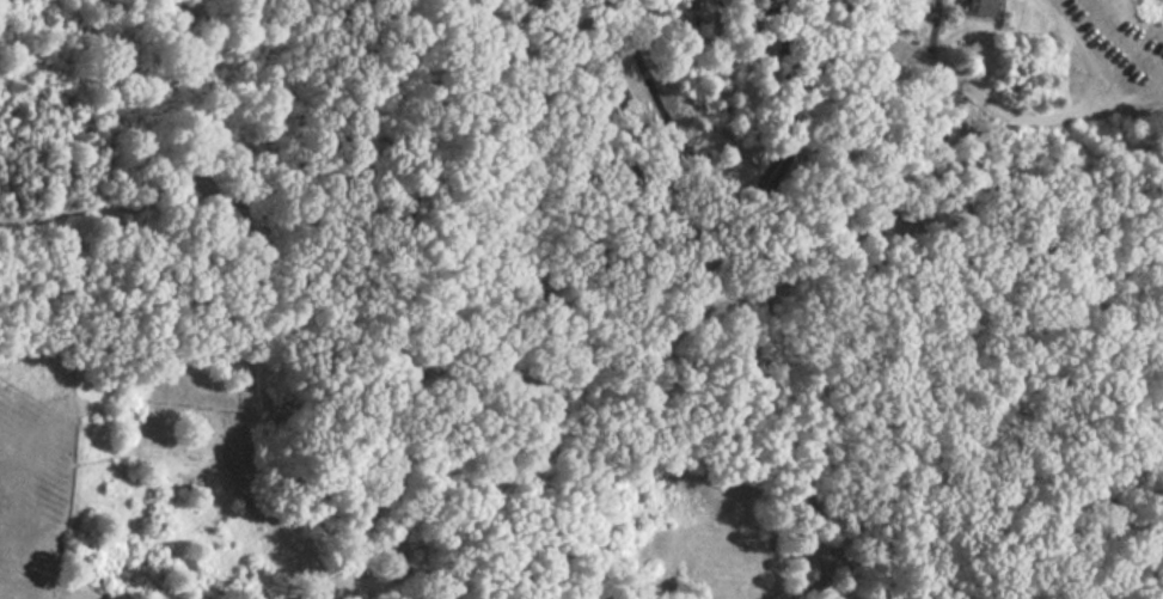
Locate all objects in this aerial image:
building: (984, 7)
building: (553, 11)
road: (1085, 49)
building: (766, 55)
road: (826, 59)
road: (800, 63)
building: (626, 92)
building: (781, 114)
road: (1006, 116)
road: (795, 143)
building: (593, 146)
building: (766, 215)
road: (876, 299)
road: (247, 402)
park: (194, 429)
building: (188, 489)
road: (357, 576)

